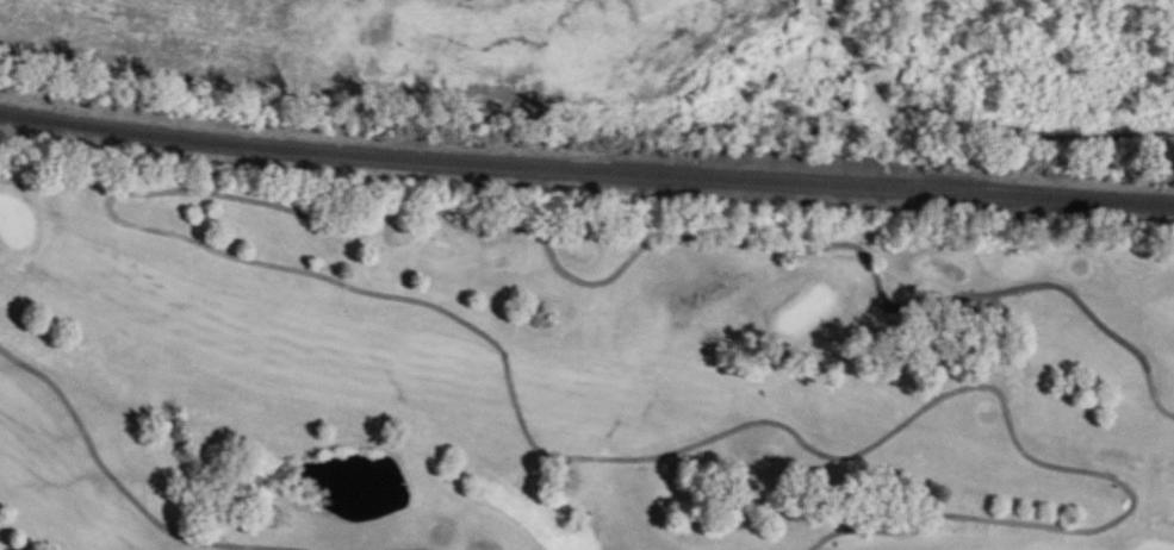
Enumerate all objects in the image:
railway: (585, 155)
road: (999, 292)
road: (495, 342)
road: (119, 483)

